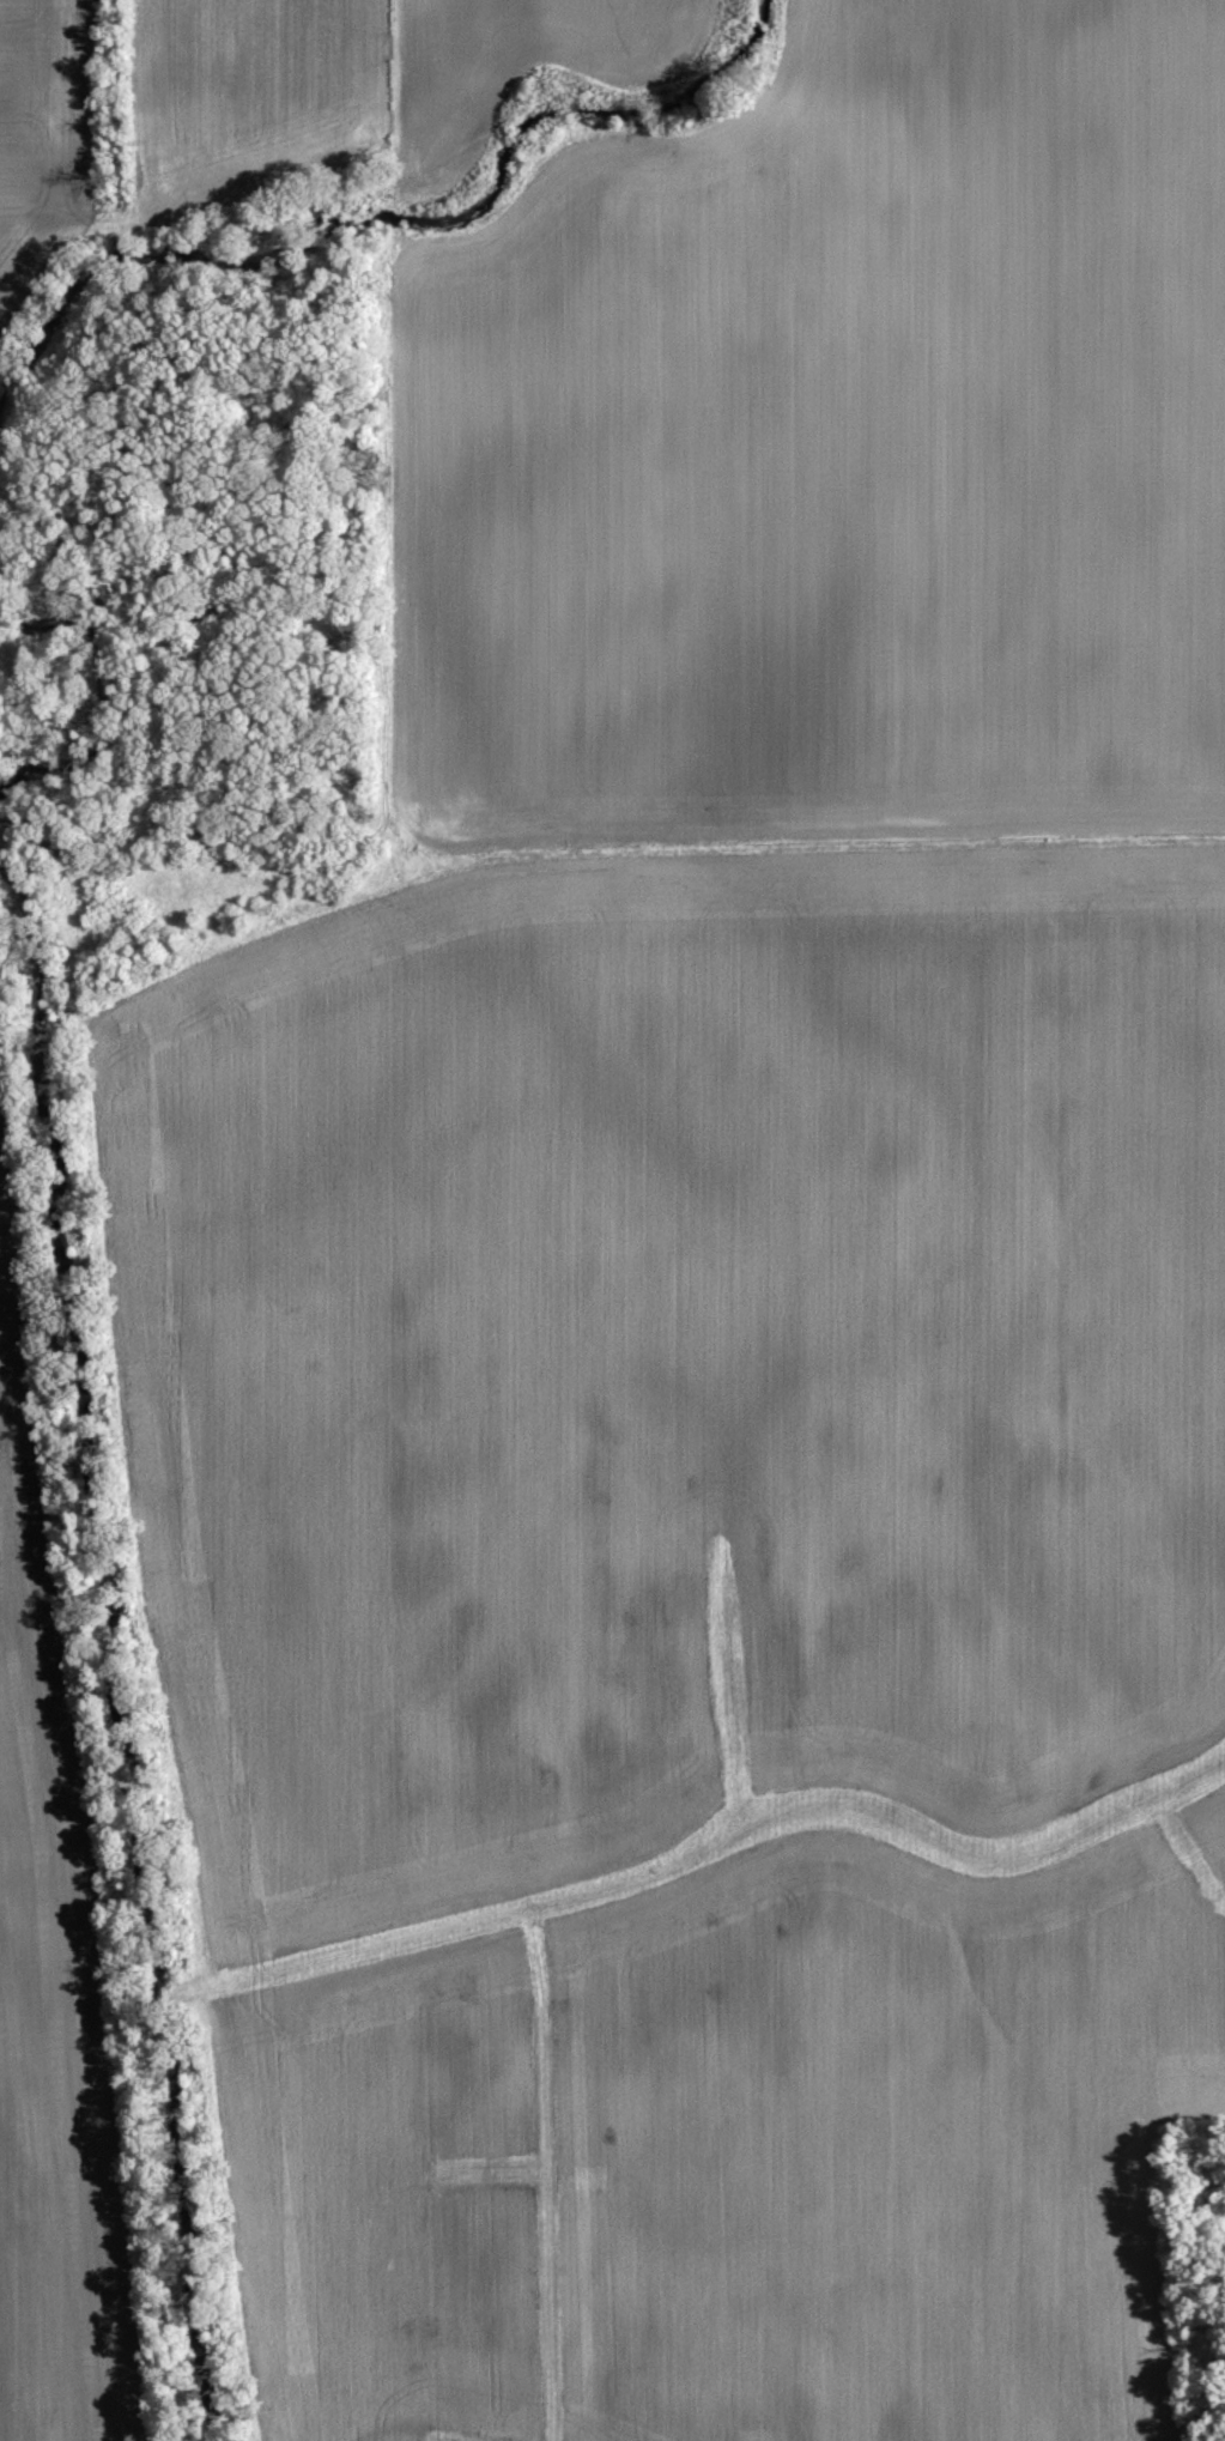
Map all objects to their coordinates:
road: (1158, 2243)

